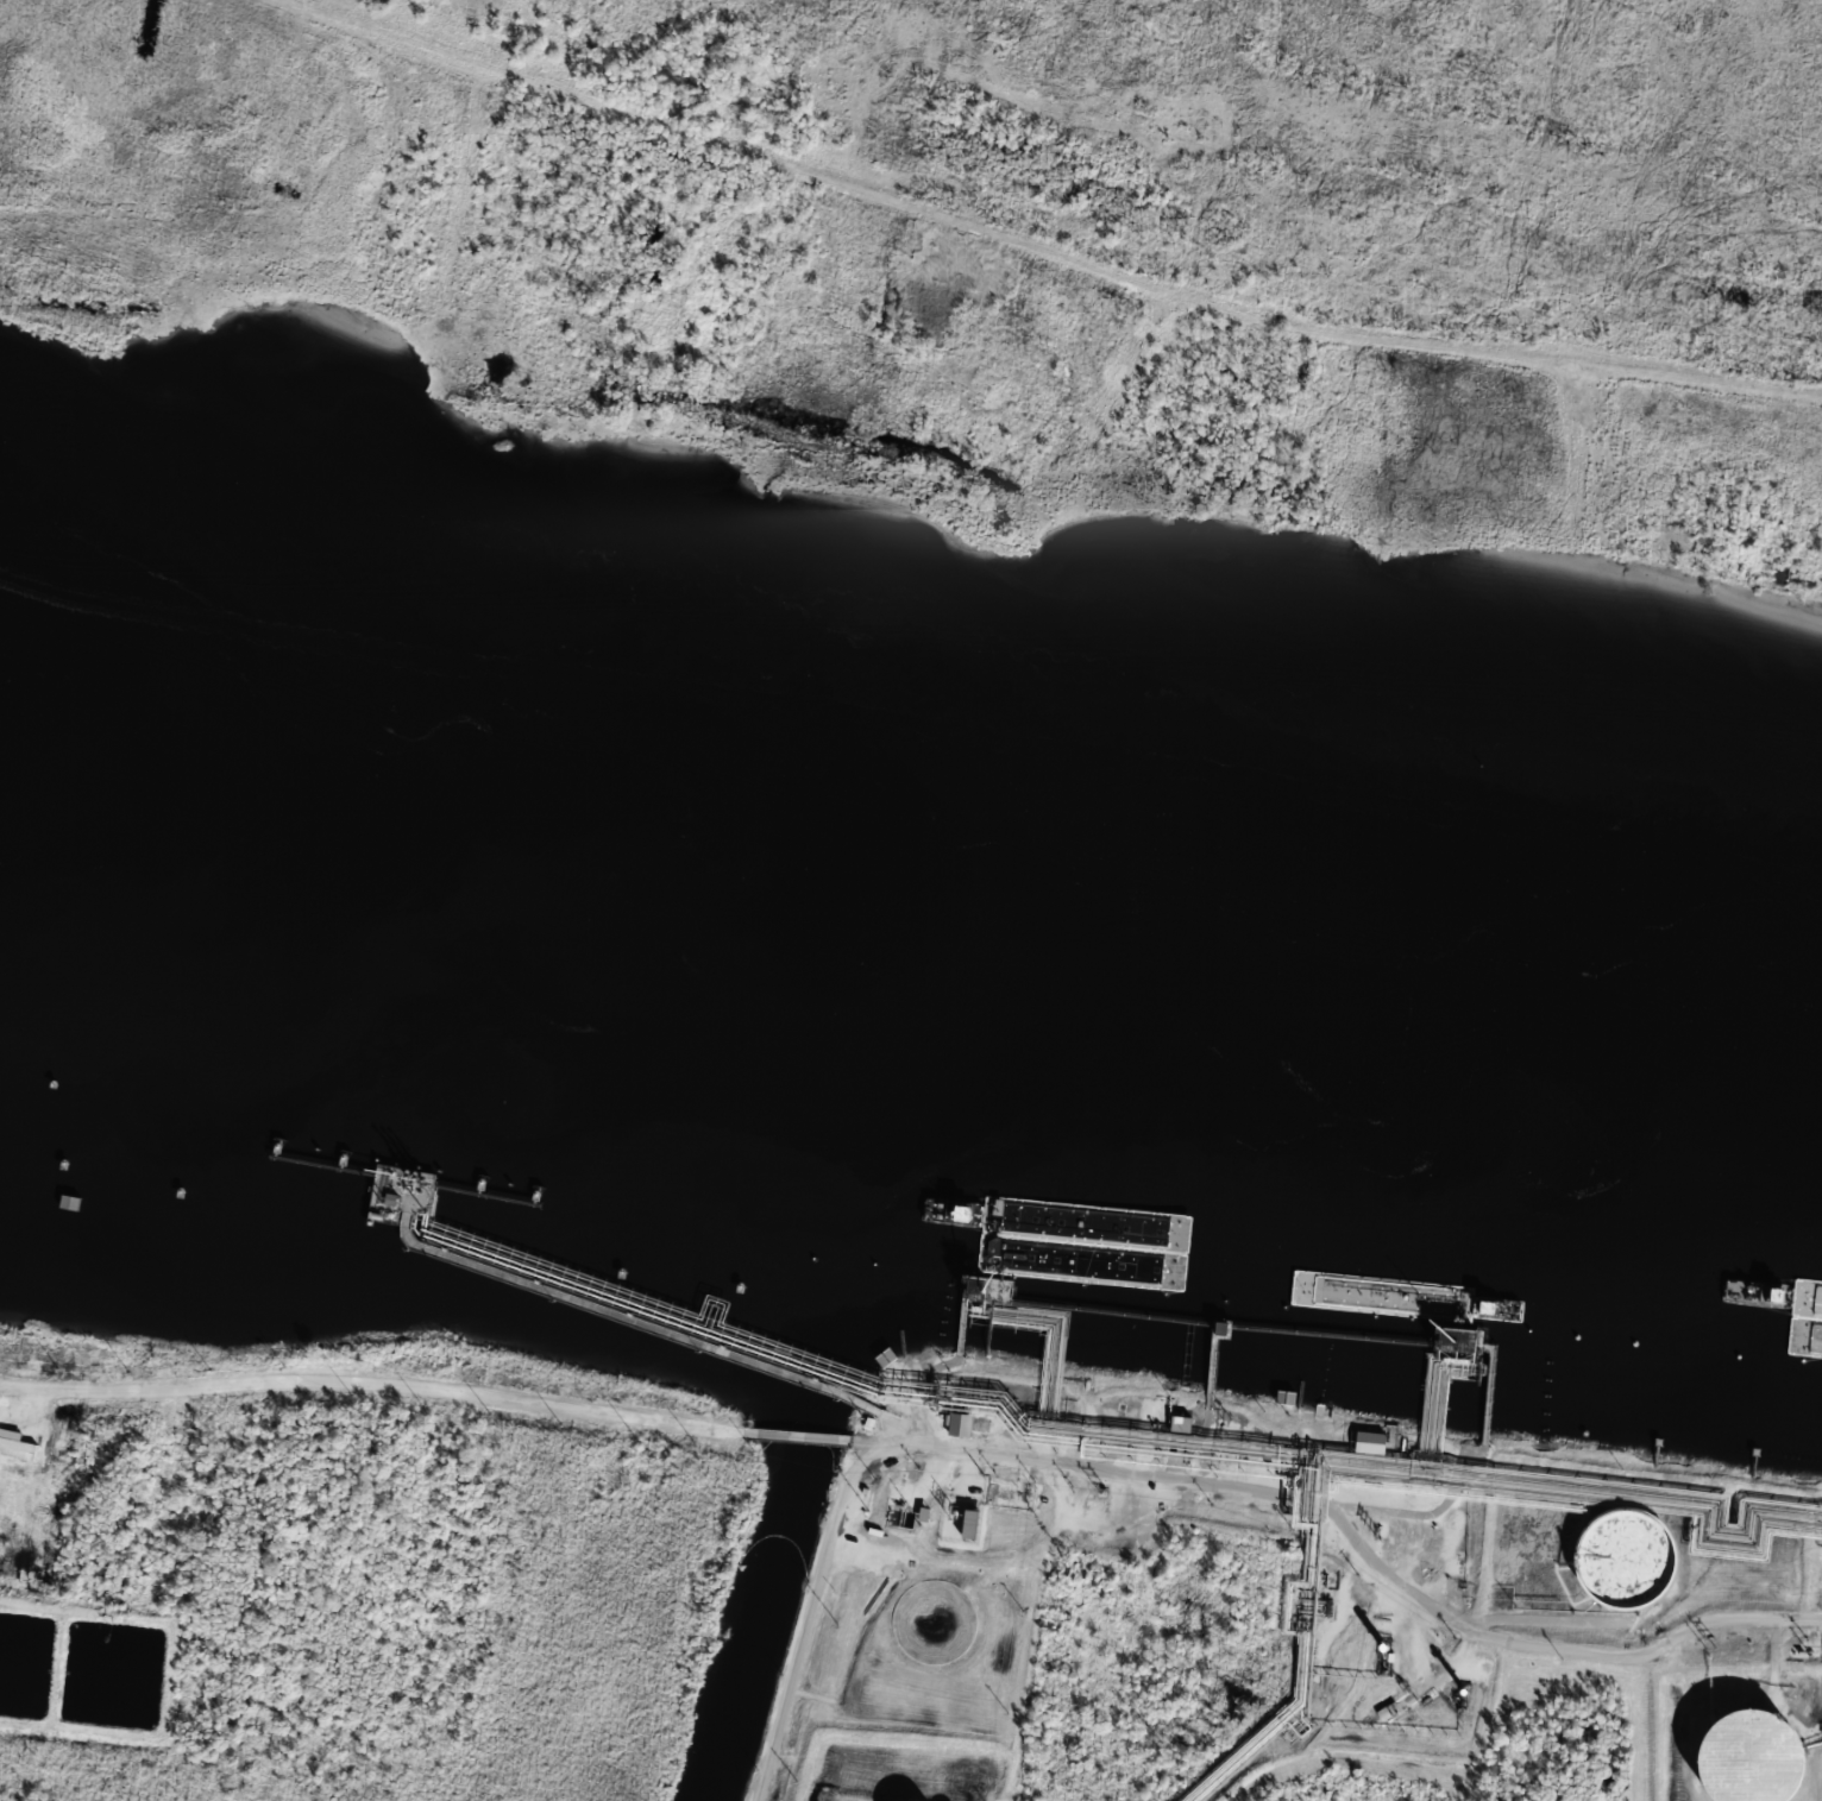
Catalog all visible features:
river: (910, 931)
building: (1180, 1423)
building: (959, 1424)
building: (1370, 1442)
building: (15, 1444)
road: (1201, 1461)

